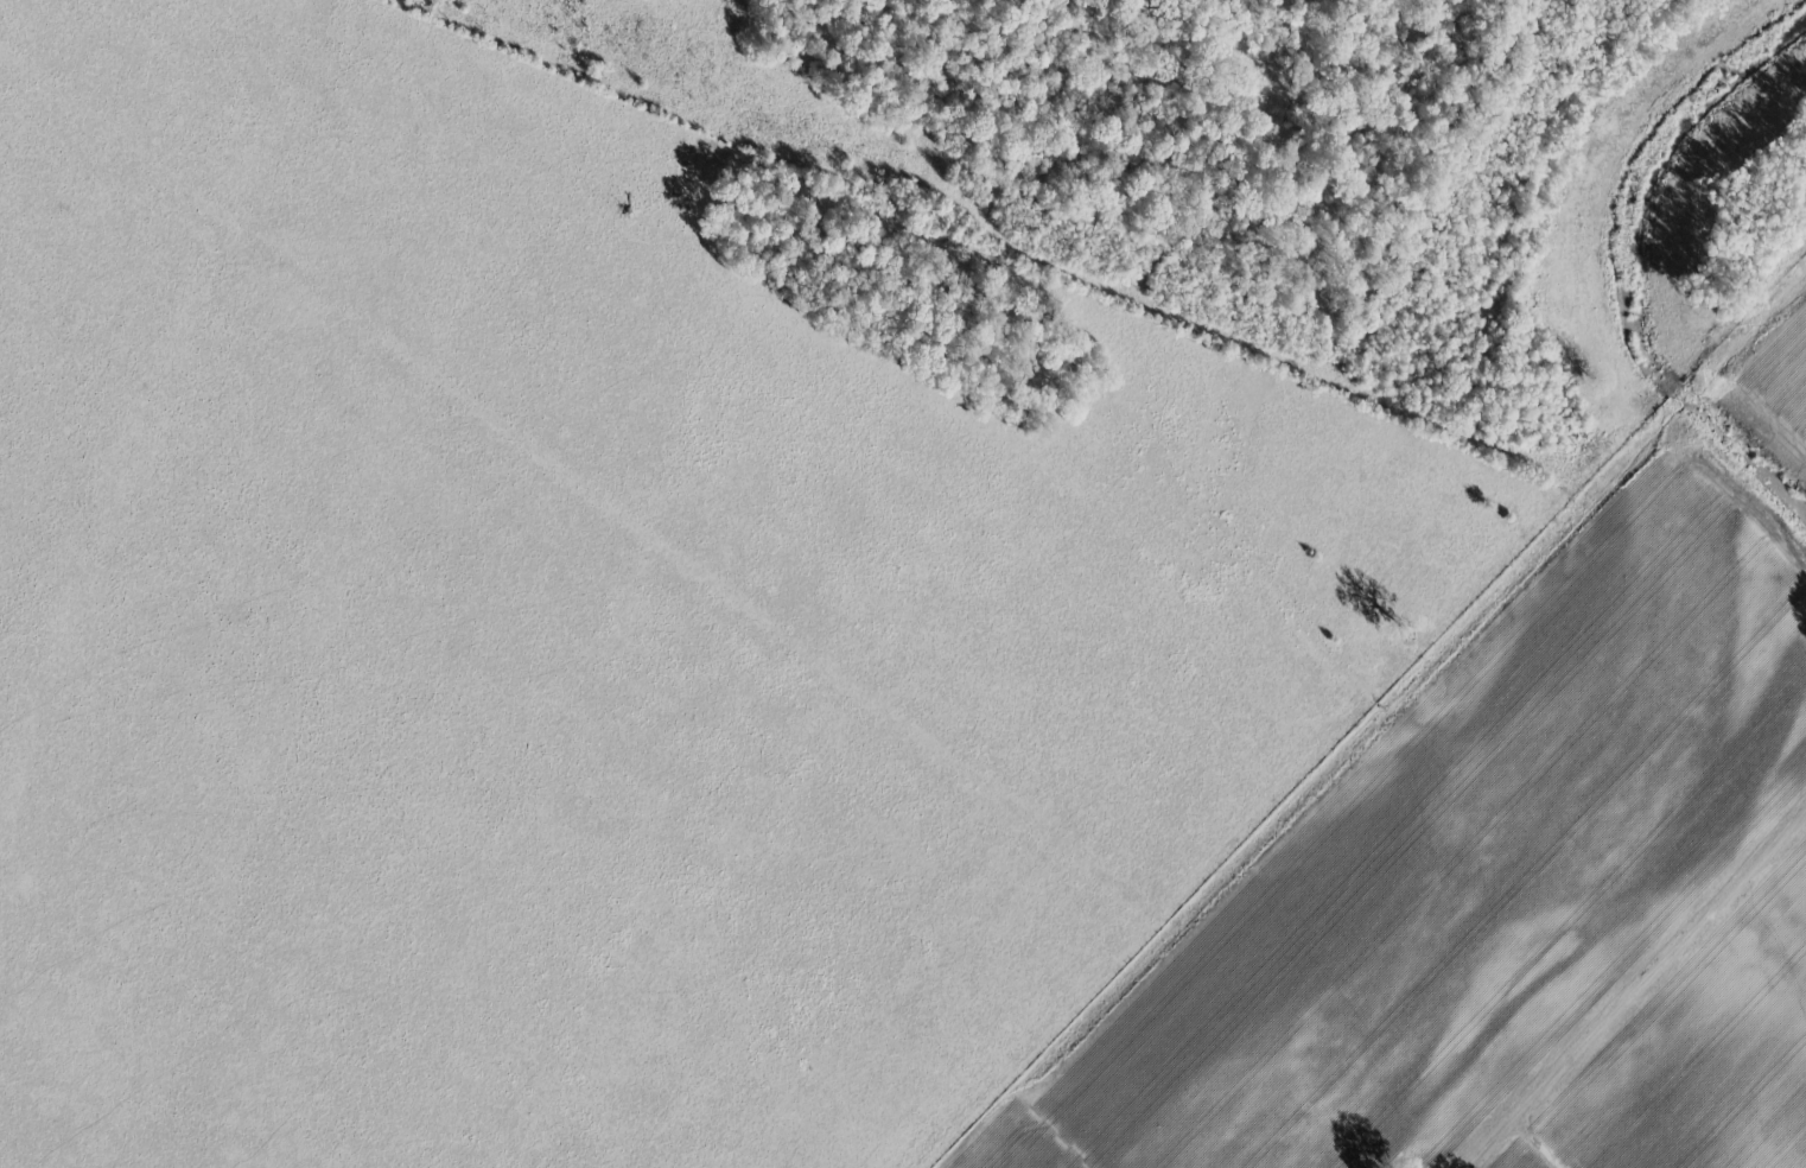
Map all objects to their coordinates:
road: (1719, 1094)

